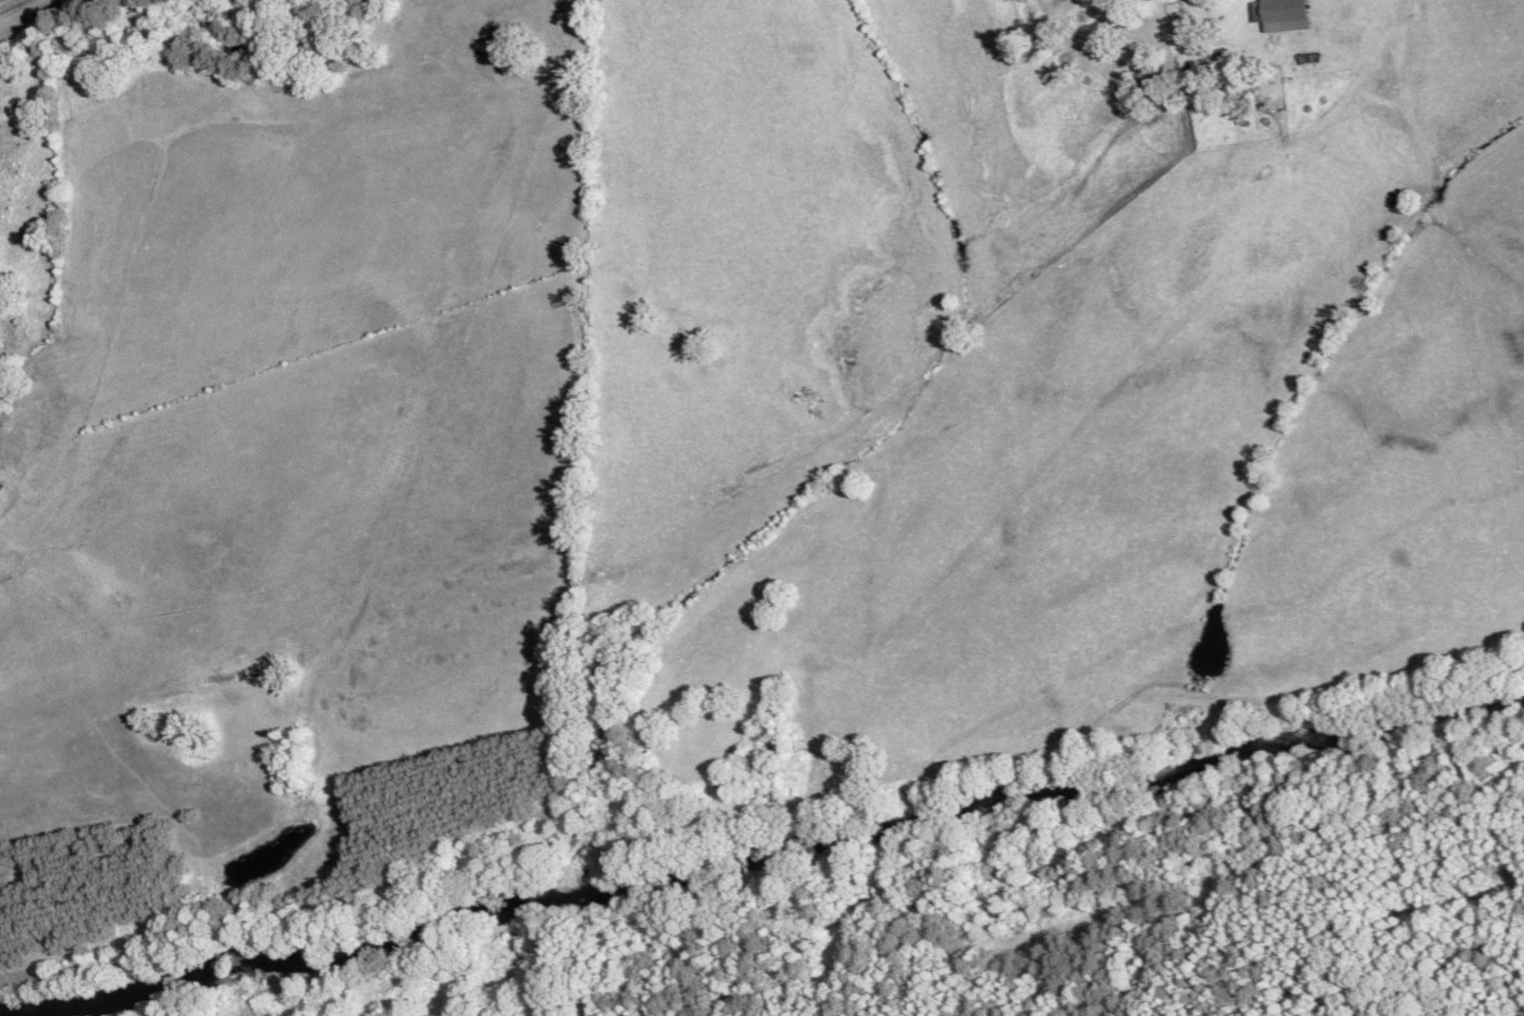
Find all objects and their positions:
building: (1104, 5)
building: (1286, 10)
building: (1401, 46)

